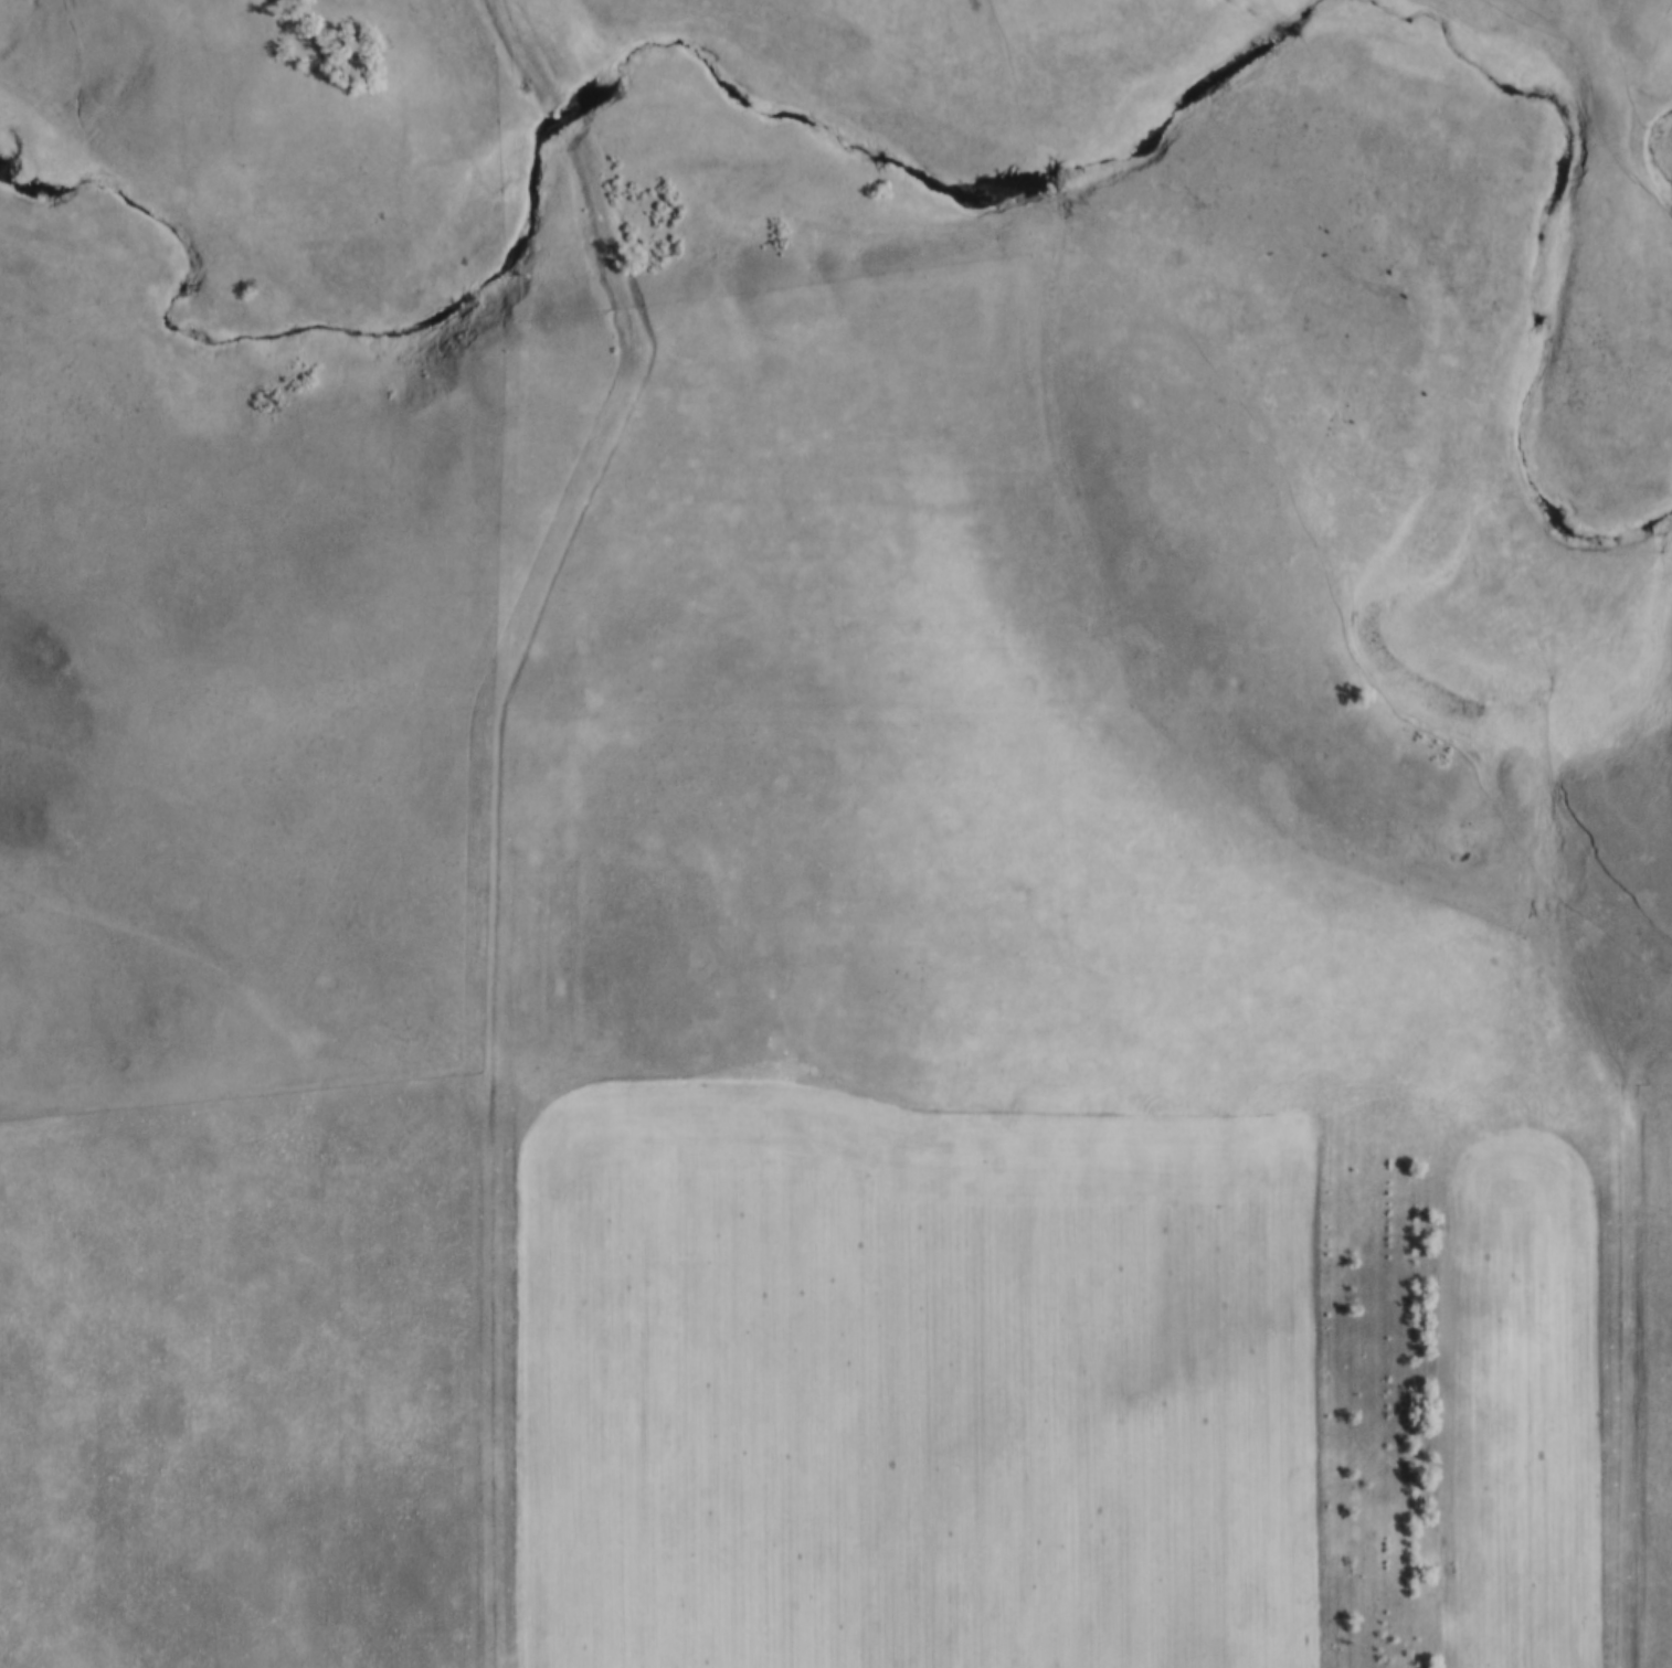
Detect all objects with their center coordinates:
road: (1612, 1384)

